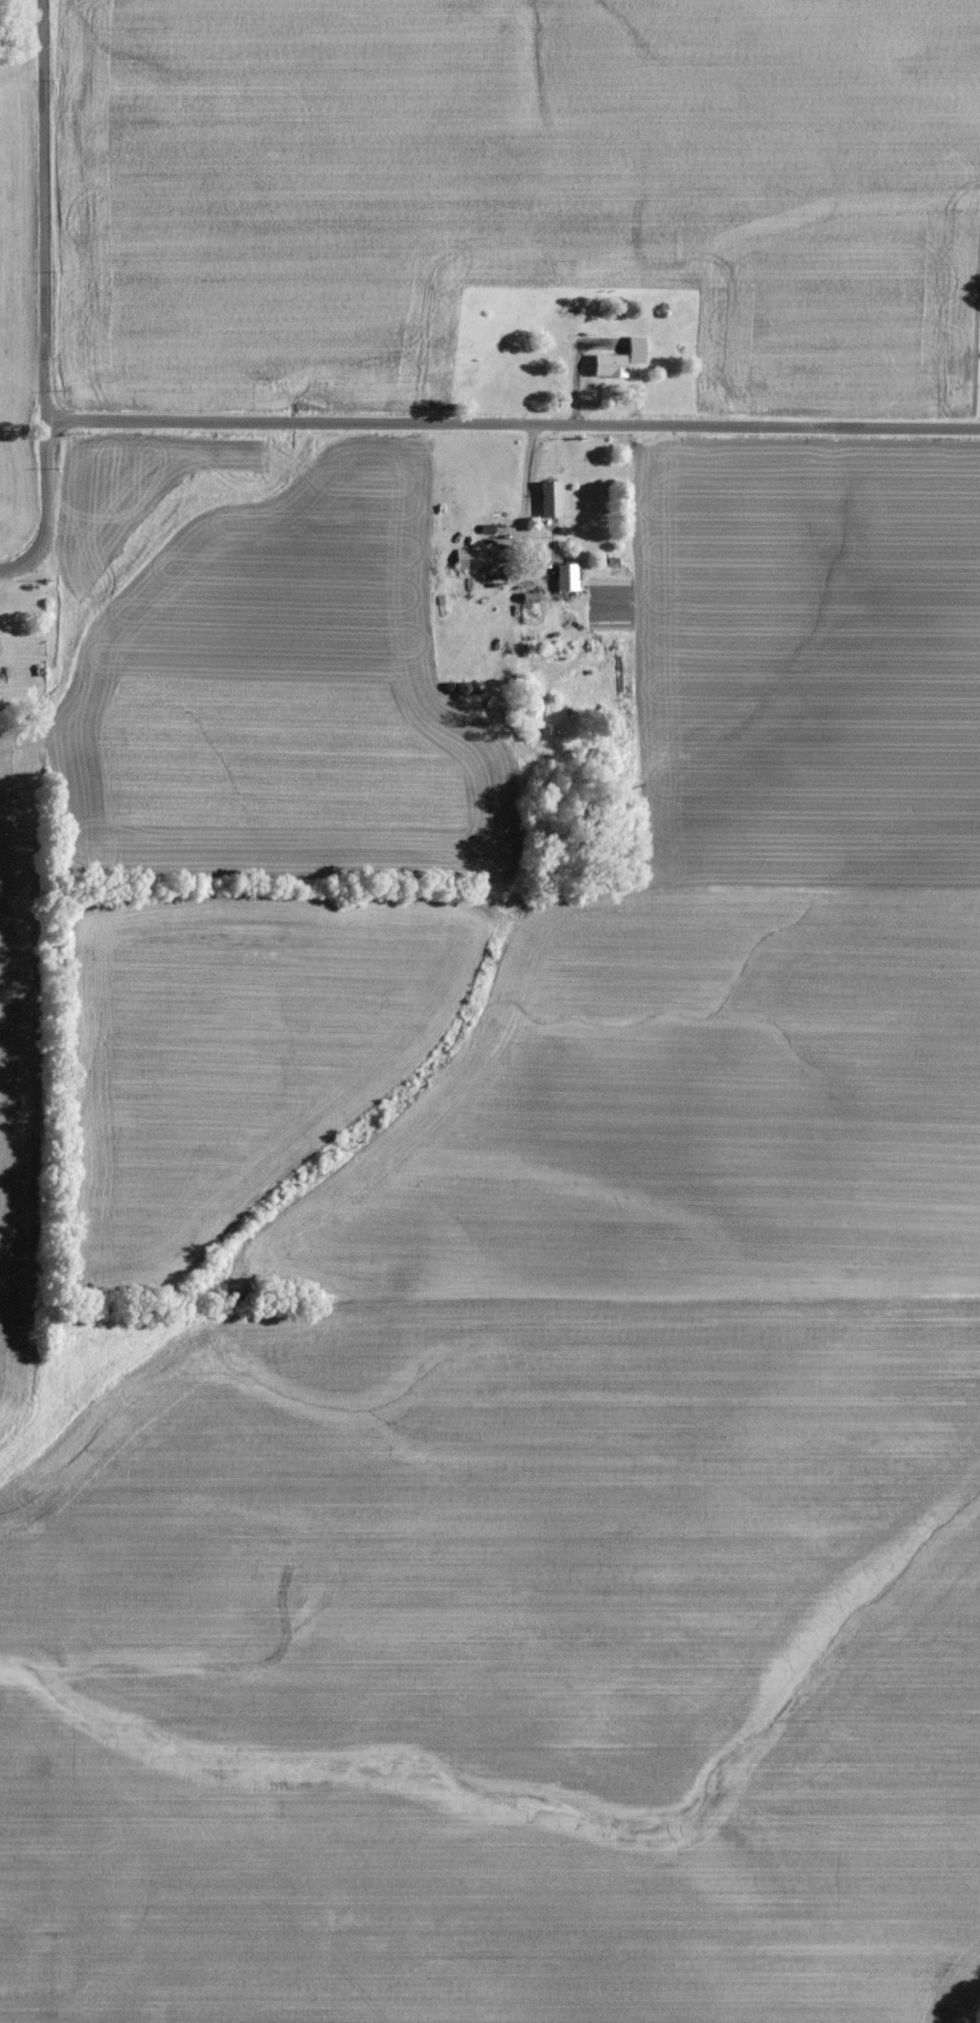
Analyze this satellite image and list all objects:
road: (40, 211)
building: (619, 364)
road: (511, 428)
road: (524, 502)
building: (550, 504)
road: (45, 509)
building: (471, 564)
building: (567, 582)

